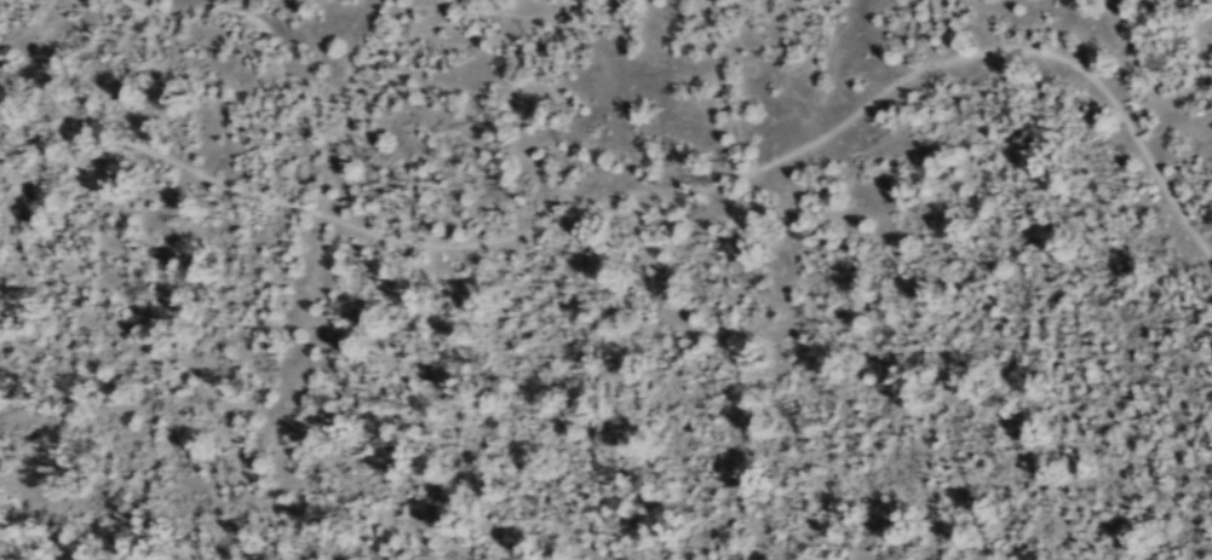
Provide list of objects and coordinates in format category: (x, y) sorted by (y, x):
road: (1063, 53)
road: (781, 80)
road: (352, 111)
road: (712, 183)
road: (262, 196)

